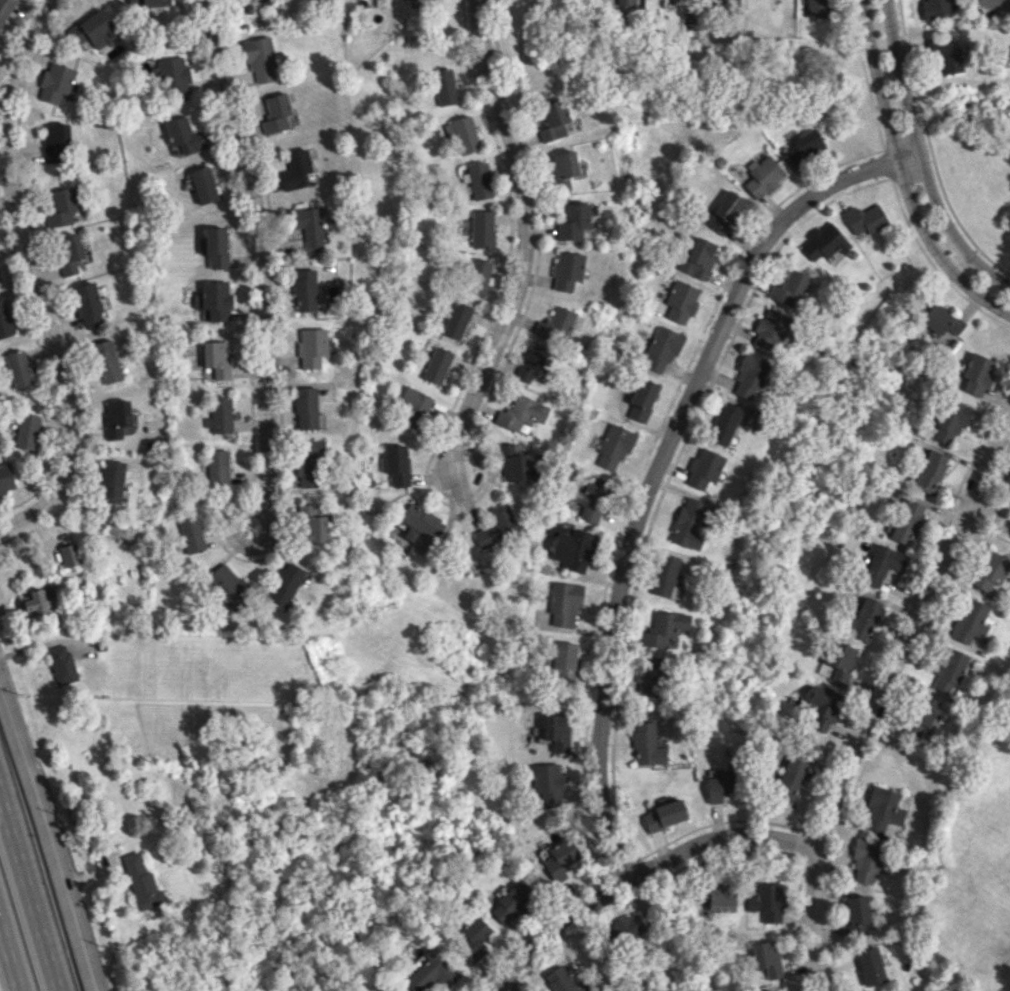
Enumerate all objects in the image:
building: (624, 2)
building: (147, 3)
building: (417, 3)
building: (993, 4)
building: (815, 8)
building: (934, 9)
building: (5, 10)
building: (93, 29)
building: (945, 55)
building: (259, 58)
building: (174, 78)
building: (57, 82)
building: (444, 86)
building: (275, 113)
building: (552, 120)
building: (184, 135)
building: (462, 135)
building: (56, 142)
building: (804, 145)
road: (921, 157)
building: (563, 168)
building: (295, 169)
road: (903, 175)
building: (762, 176)
building: (478, 180)
building: (202, 184)
building: (61, 205)
building: (723, 212)
building: (865, 218)
building: (573, 221)
building: (308, 225)
building: (482, 228)
road: (524, 239)
building: (824, 243)
building: (214, 246)
building: (68, 252)
road: (260, 253)
building: (698, 258)
building: (566, 270)
road: (32, 276)
building: (477, 276)
building: (789, 289)
building: (304, 290)
building: (216, 300)
building: (681, 301)
building: (87, 305)
building: (942, 319)
building: (457, 320)
building: (5, 321)
building: (555, 325)
building: (768, 328)
building: (312, 347)
building: (662, 348)
building: (215, 360)
building: (106, 361)
building: (532, 362)
building: (437, 364)
building: (17, 369)
building: (978, 374)
building: (747, 376)
building: (642, 399)
building: (305, 408)
building: (413, 408)
building: (521, 414)
building: (219, 415)
building: (115, 417)
building: (950, 422)
building: (724, 423)
building: (26, 431)
building: (614, 447)
building: (511, 462)
road: (659, 462)
building: (309, 463)
building: (397, 464)
building: (217, 467)
building: (703, 469)
building: (930, 471)
building: (6, 478)
building: (111, 482)
building: (1007, 485)
building: (591, 498)
road: (261, 513)
road: (991, 514)
building: (907, 521)
building: (420, 523)
building: (311, 524)
building: (687, 524)
building: (495, 526)
building: (191, 534)
building: (68, 554)
building: (883, 564)
building: (991, 571)
building: (285, 584)
building: (228, 585)
building: (36, 602)
building: (564, 602)
building: (865, 618)
building: (970, 620)
building: (664, 629)
building: (561, 662)
building: (61, 664)
building: (840, 664)
building: (949, 670)
building: (649, 676)
road: (884, 700)
building: (822, 708)
building: (924, 715)
building: (556, 732)
building: (647, 744)
building: (790, 778)
building: (548, 781)
building: (719, 785)
building: (884, 812)
building: (664, 814)
road: (57, 822)
road: (49, 836)
building: (560, 859)
building: (866, 860)
road: (636, 874)
building: (140, 881)
building: (770, 895)
building: (721, 898)
road: (26, 901)
building: (514, 901)
building: (857, 915)
building: (622, 931)
building: (473, 937)
road: (11, 952)
building: (766, 957)
building: (870, 965)
building: (433, 970)
building: (560, 980)
road: (502, 985)
building: (772, 990)

